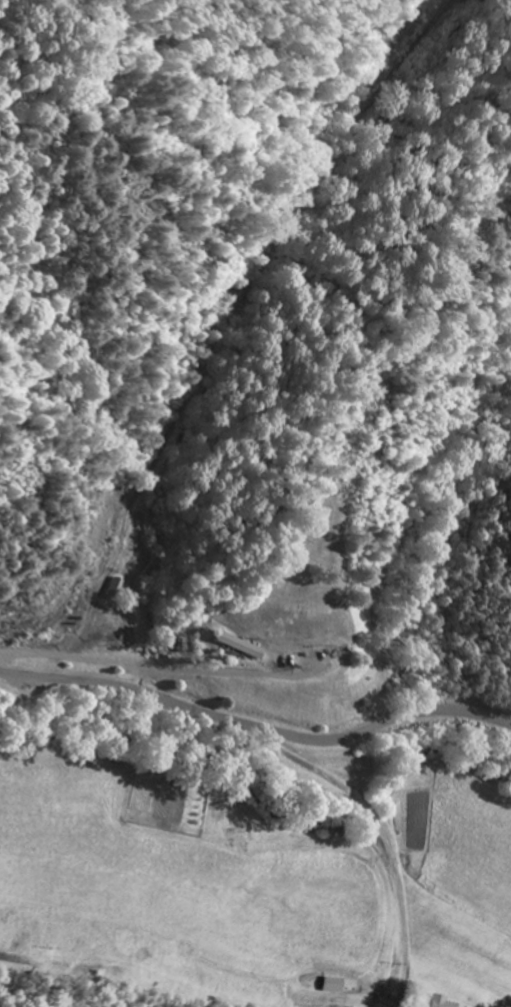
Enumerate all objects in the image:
building: (236, 645)
road: (255, 727)
road: (433, 731)
road: (364, 770)
road: (378, 896)
building: (335, 985)
road: (381, 994)
building: (437, 1001)

